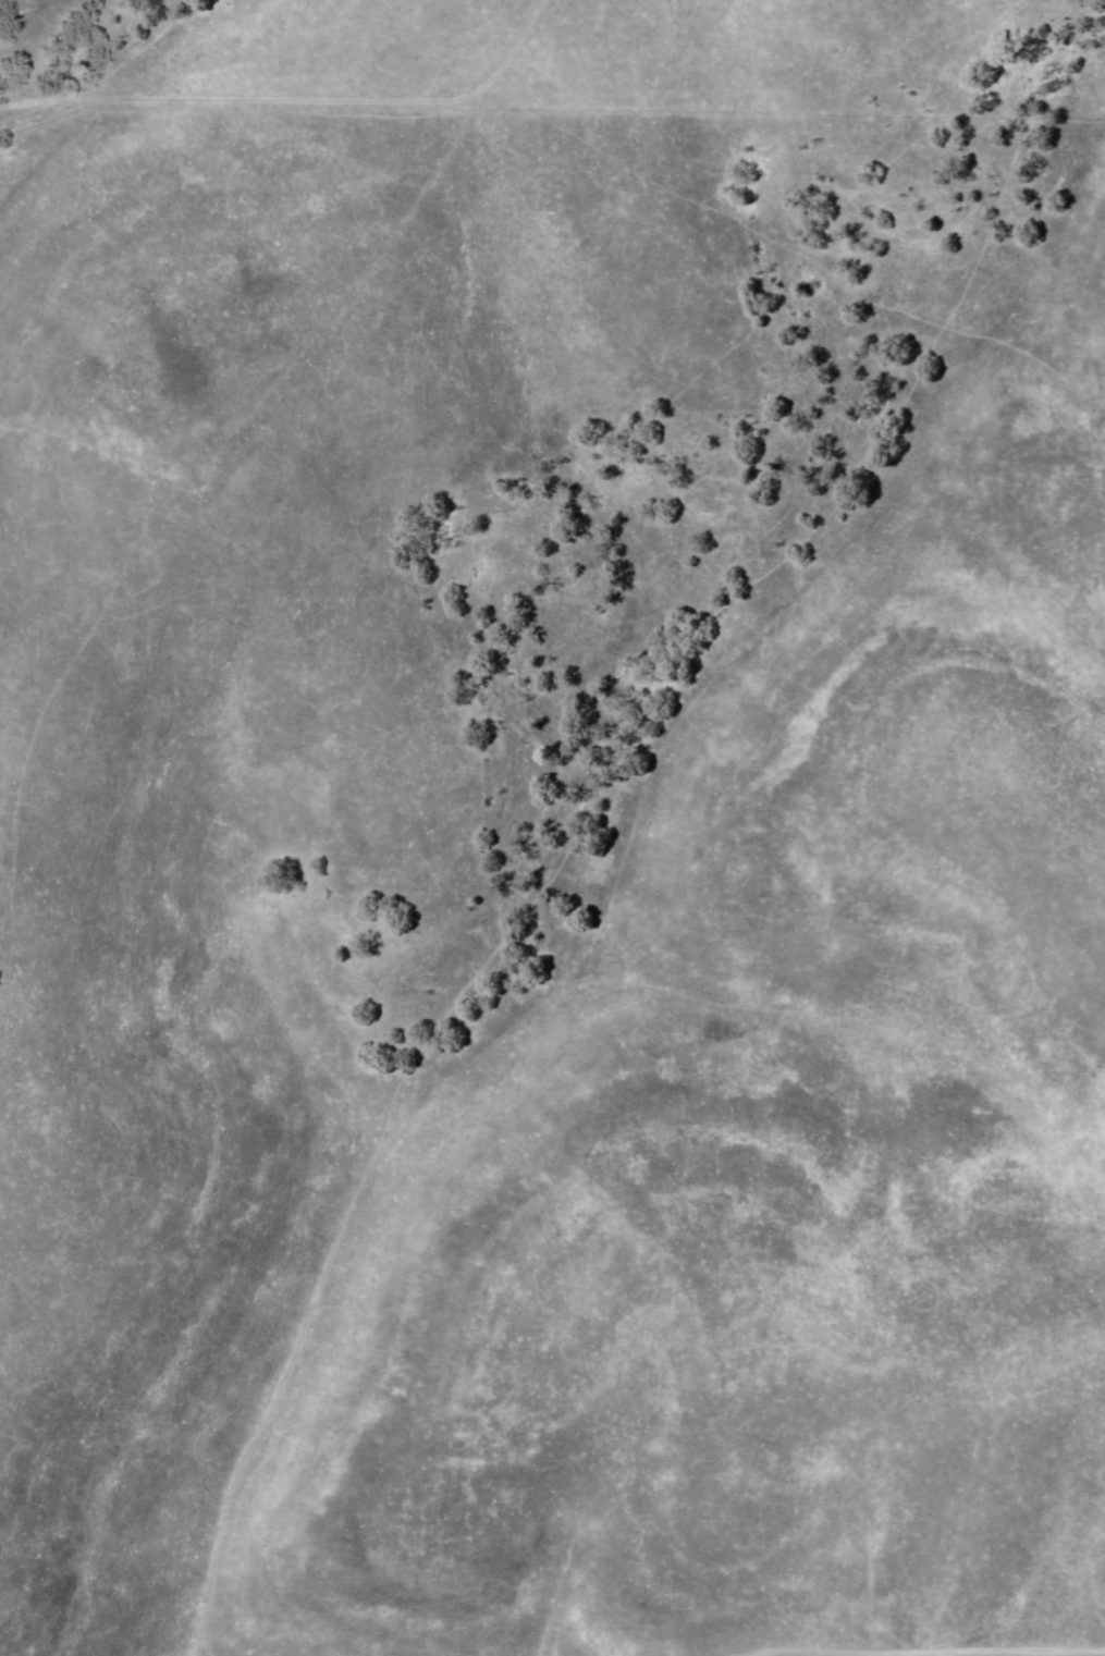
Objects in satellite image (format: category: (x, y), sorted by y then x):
road: (907, 1624)
road: (248, 1628)

